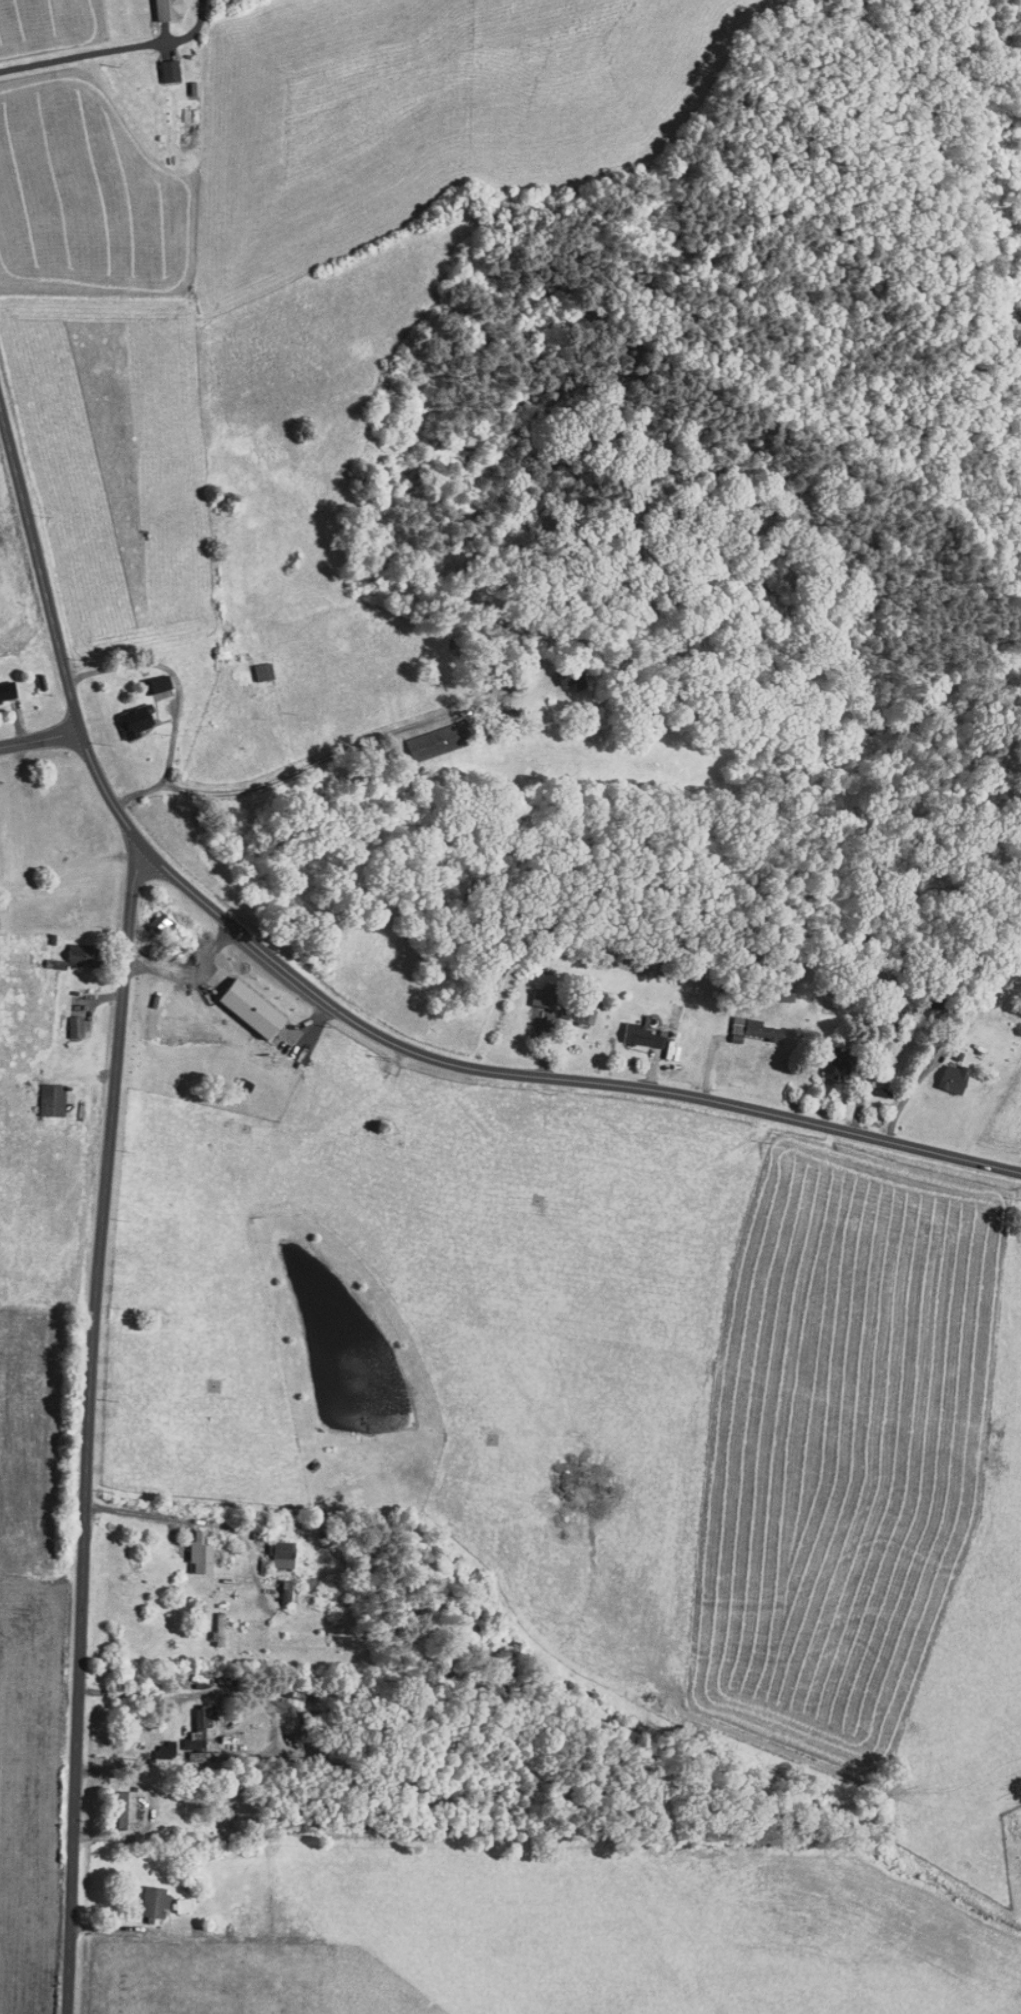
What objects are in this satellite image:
building: (155, 7)
road: (82, 55)
building: (160, 64)
building: (253, 664)
road: (171, 672)
building: (149, 677)
building: (2, 684)
building: (125, 714)
building: (423, 735)
road: (38, 739)
road: (291, 772)
building: (148, 916)
building: (64, 950)
building: (773, 988)
building: (533, 991)
building: (240, 1001)
road: (334, 1005)
building: (567, 1006)
building: (65, 1019)
building: (741, 1023)
building: (631, 1029)
building: (822, 1059)
building: (943, 1071)
building: (41, 1093)
road: (91, 1426)
road: (197, 1519)
building: (190, 1547)
building: (271, 1547)
building: (277, 1585)
building: (208, 1624)
building: (154, 1743)
building: (115, 1804)
building: (144, 1896)
building: (171, 1900)

